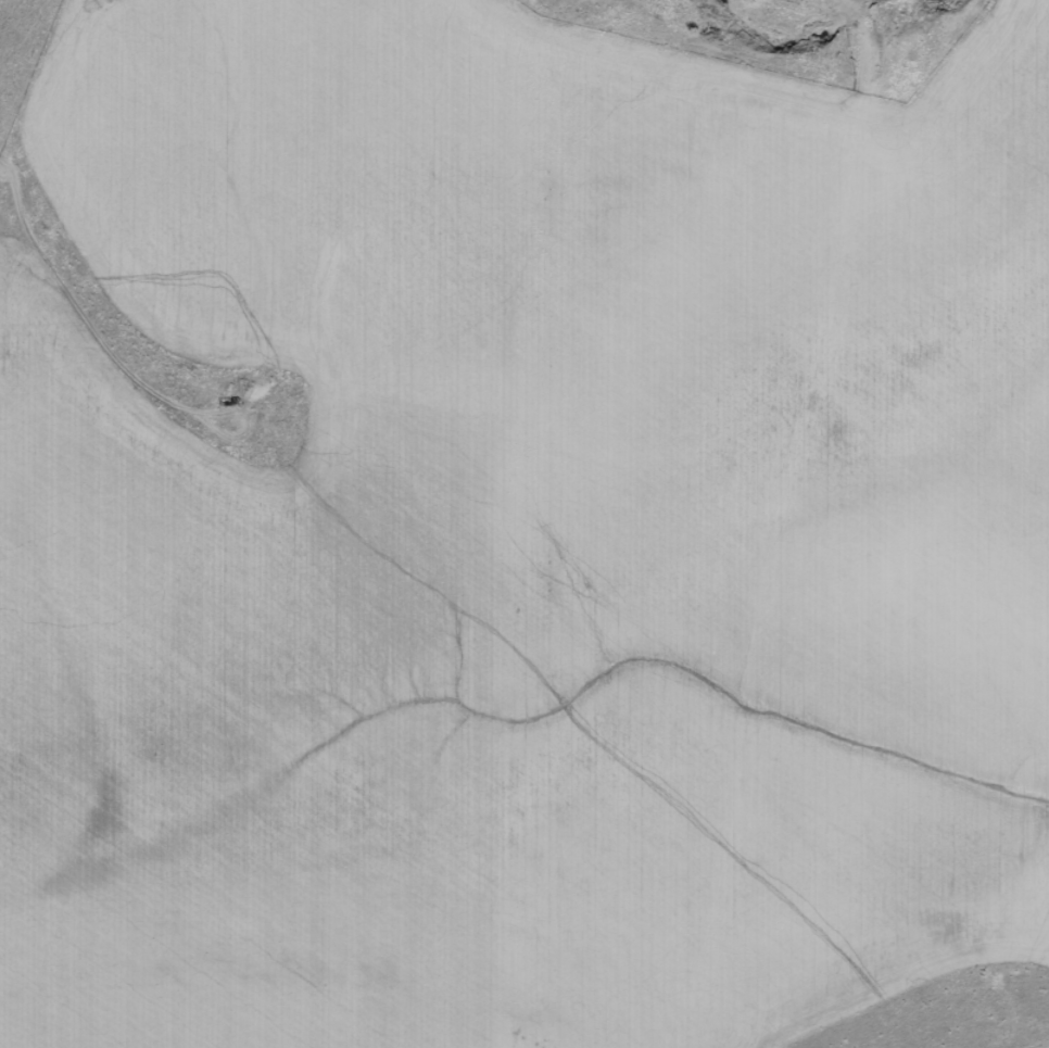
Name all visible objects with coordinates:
road: (738, 68)

